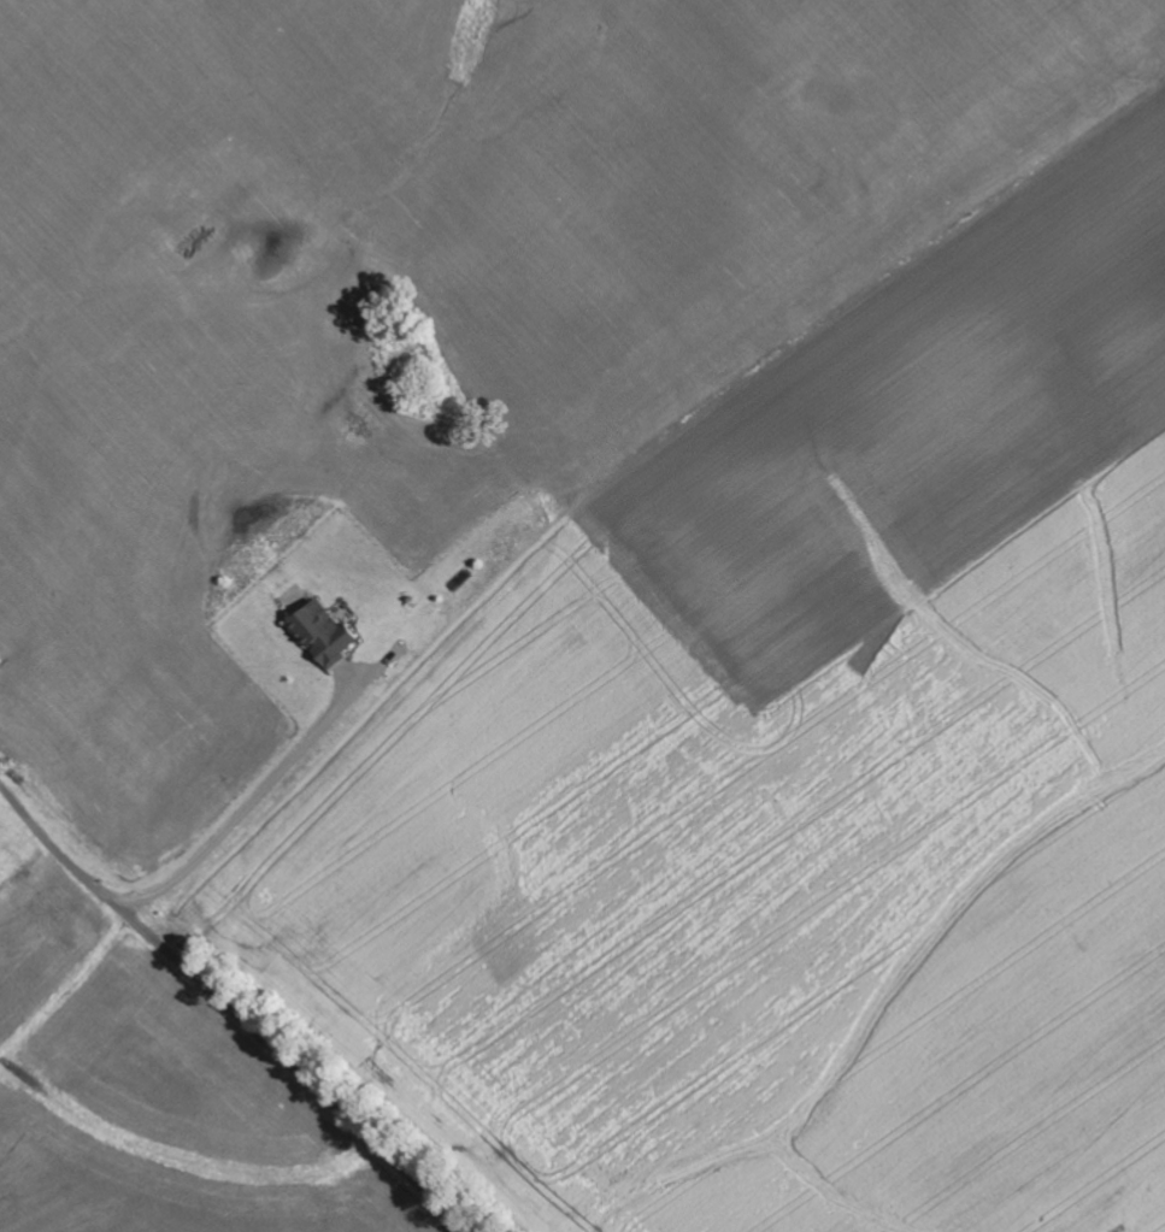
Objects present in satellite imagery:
building: (330, 632)
road: (231, 1013)

